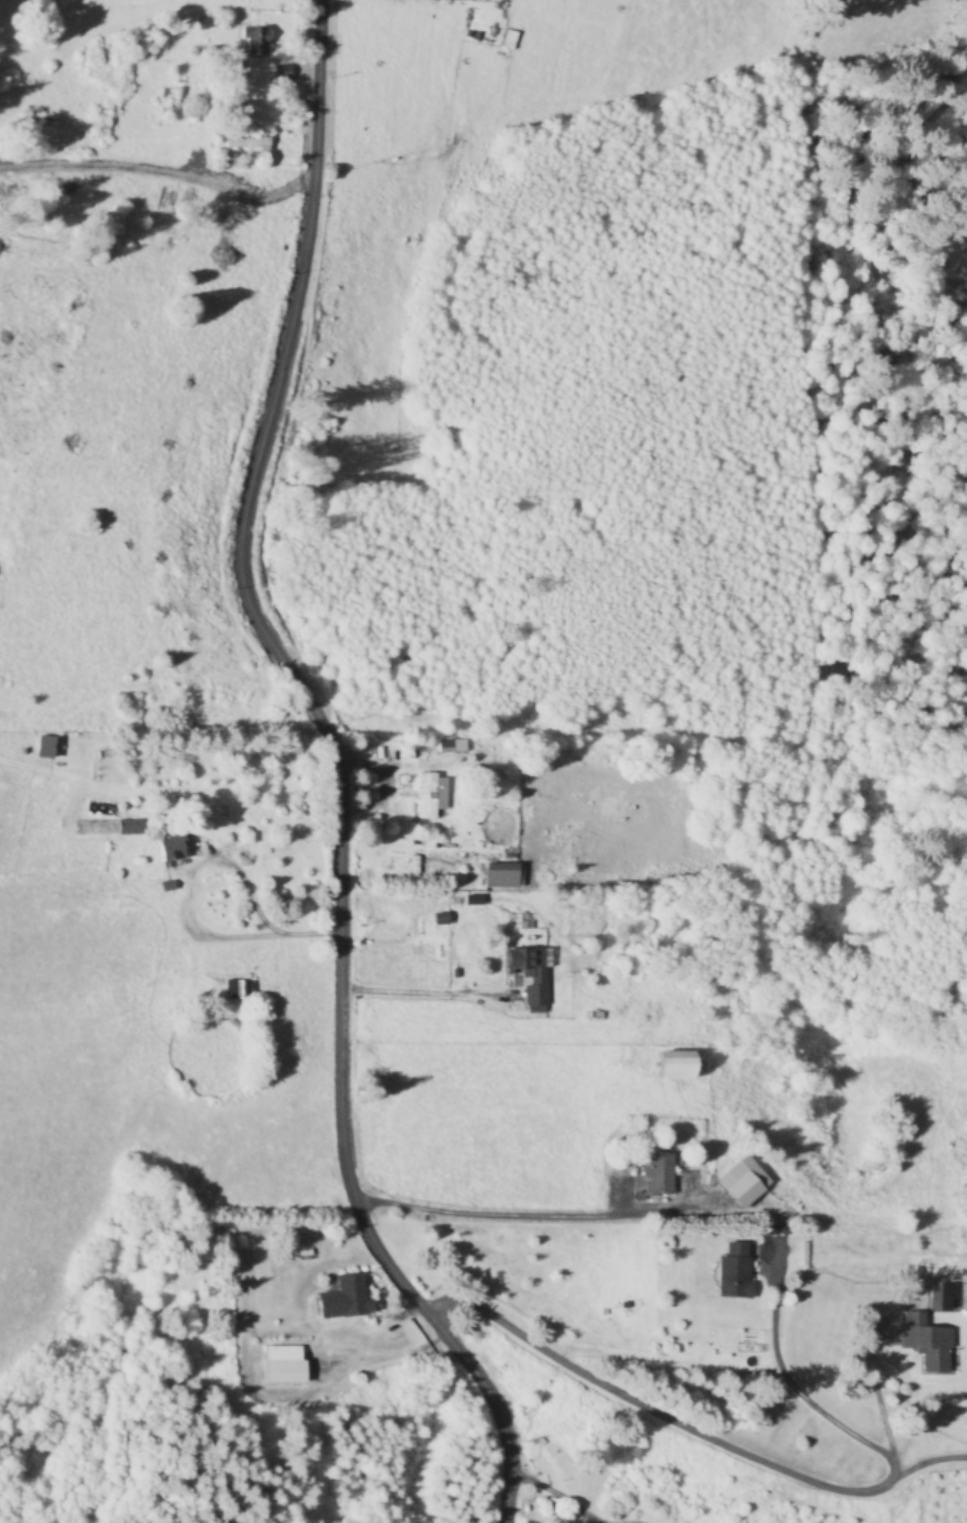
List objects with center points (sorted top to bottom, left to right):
building: (509, 40)
building: (256, 42)
building: (283, 73)
building: (101, 123)
building: (248, 144)
building: (459, 746)
building: (44, 747)
road: (338, 776)
building: (427, 796)
building: (130, 827)
building: (171, 849)
building: (504, 876)
road: (252, 916)
building: (530, 976)
road: (404, 987)
building: (239, 989)
building: (677, 1064)
building: (659, 1173)
building: (744, 1181)
road: (481, 1209)
building: (735, 1271)
building: (346, 1298)
building: (941, 1299)
building: (928, 1343)
building: (284, 1364)
road: (787, 1387)
road: (869, 1396)
road: (684, 1423)
road: (542, 1490)

